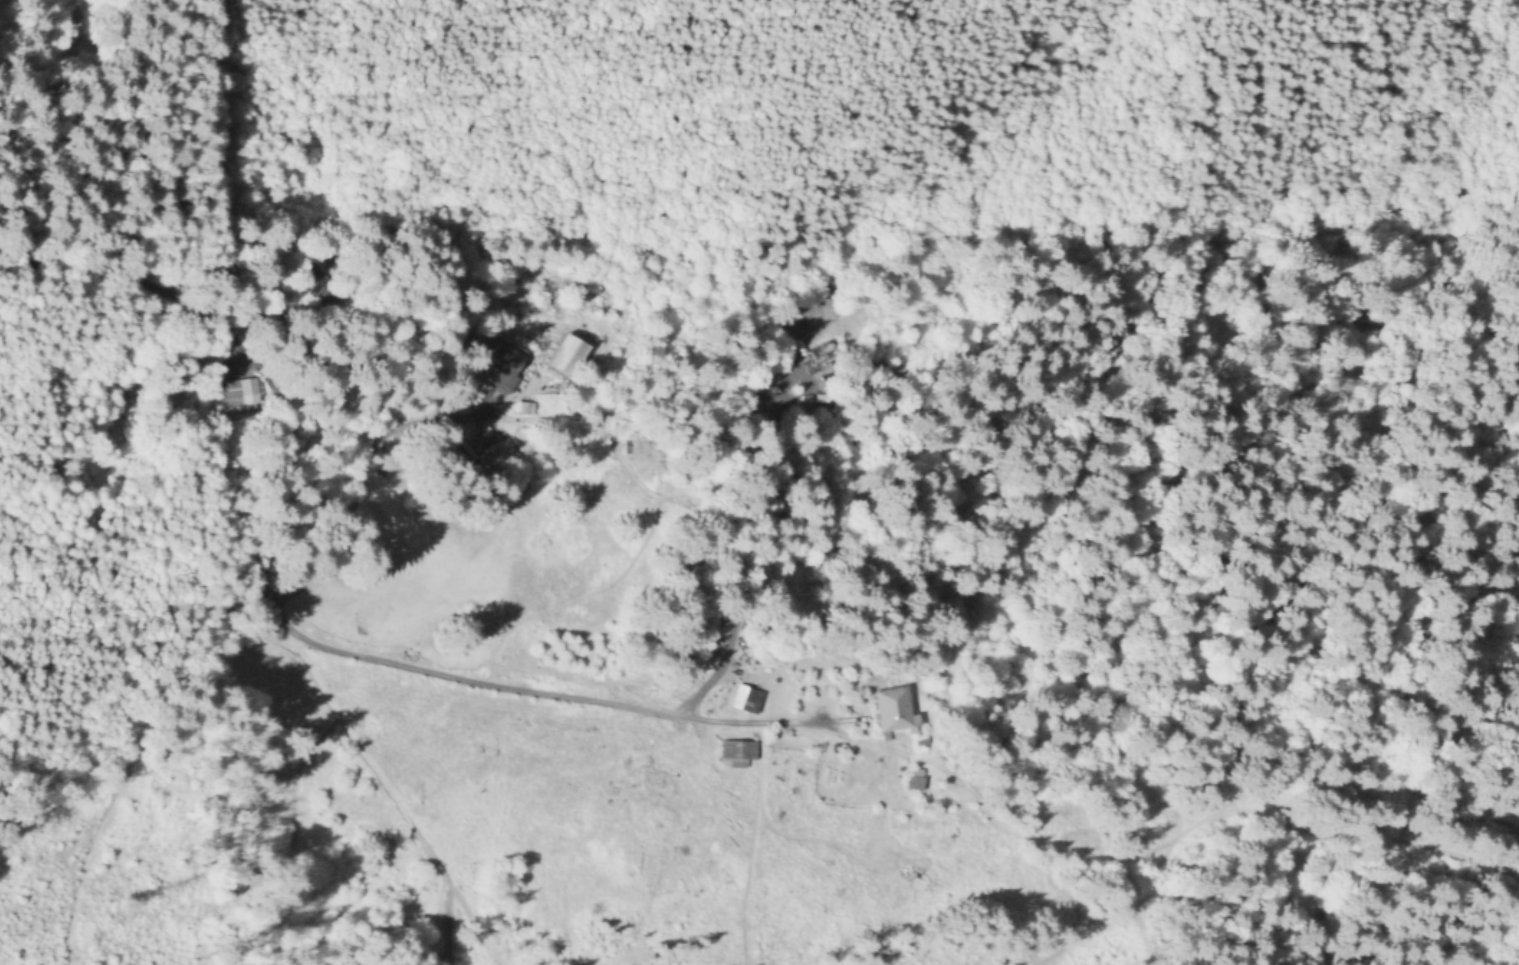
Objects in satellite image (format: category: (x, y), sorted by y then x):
building: (789, 334)
building: (564, 354)
building: (502, 364)
building: (242, 396)
building: (627, 461)
road: (364, 476)
road: (277, 606)
building: (740, 696)
building: (890, 711)
building: (734, 754)

